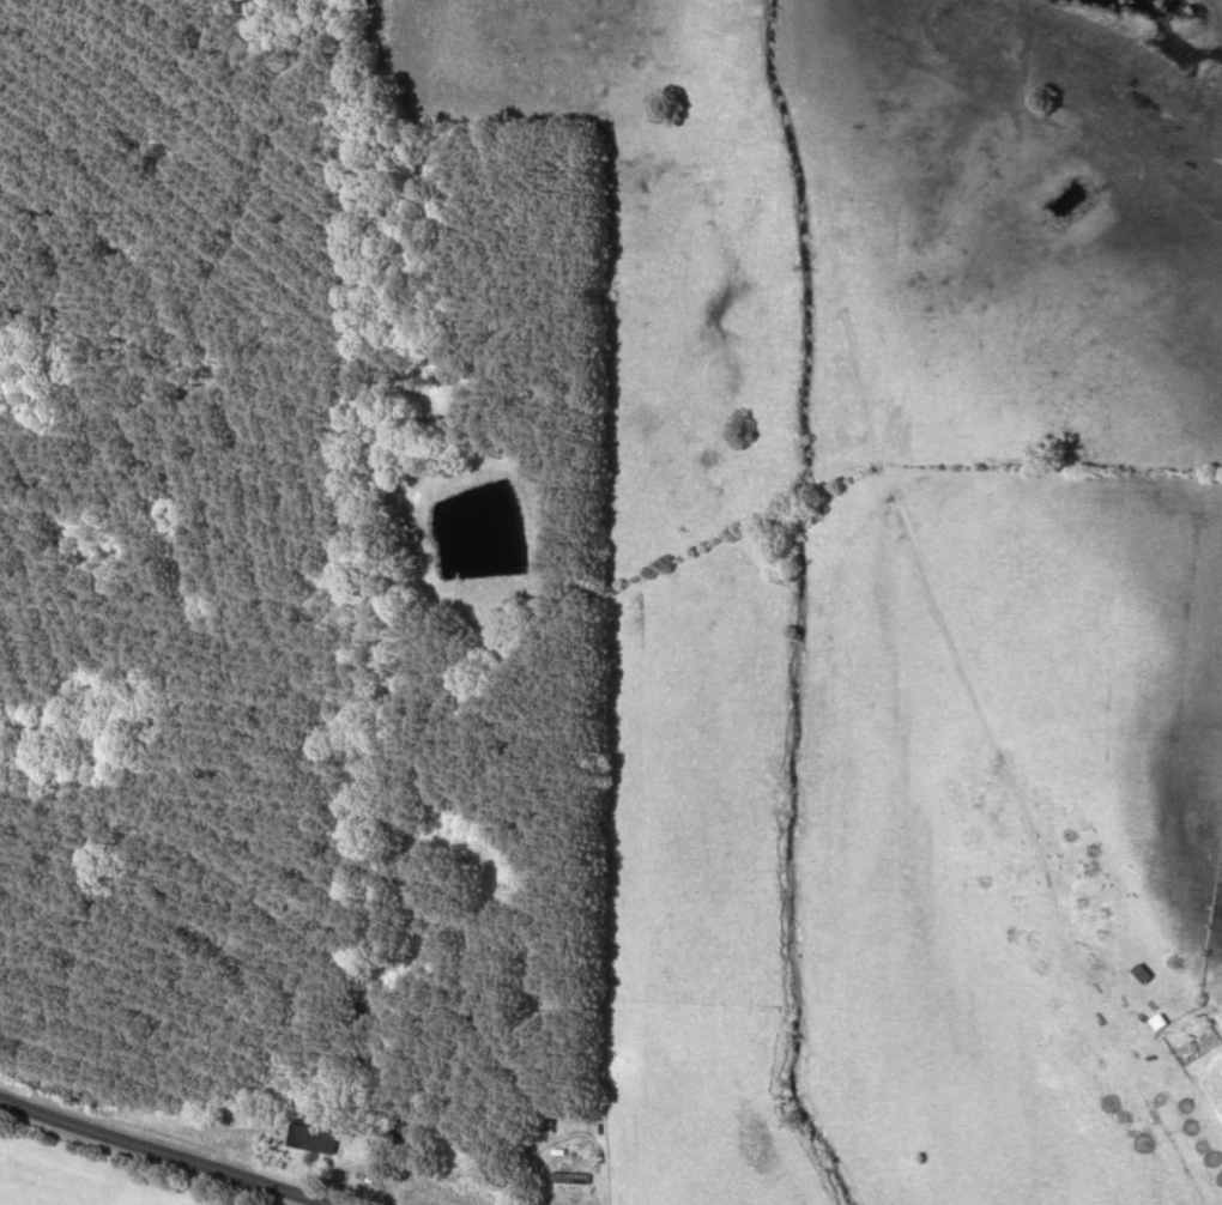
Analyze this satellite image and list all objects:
building: (520, 878)
building: (1141, 973)
building: (400, 1128)
building: (310, 1138)
road: (156, 1156)
building: (569, 1179)

